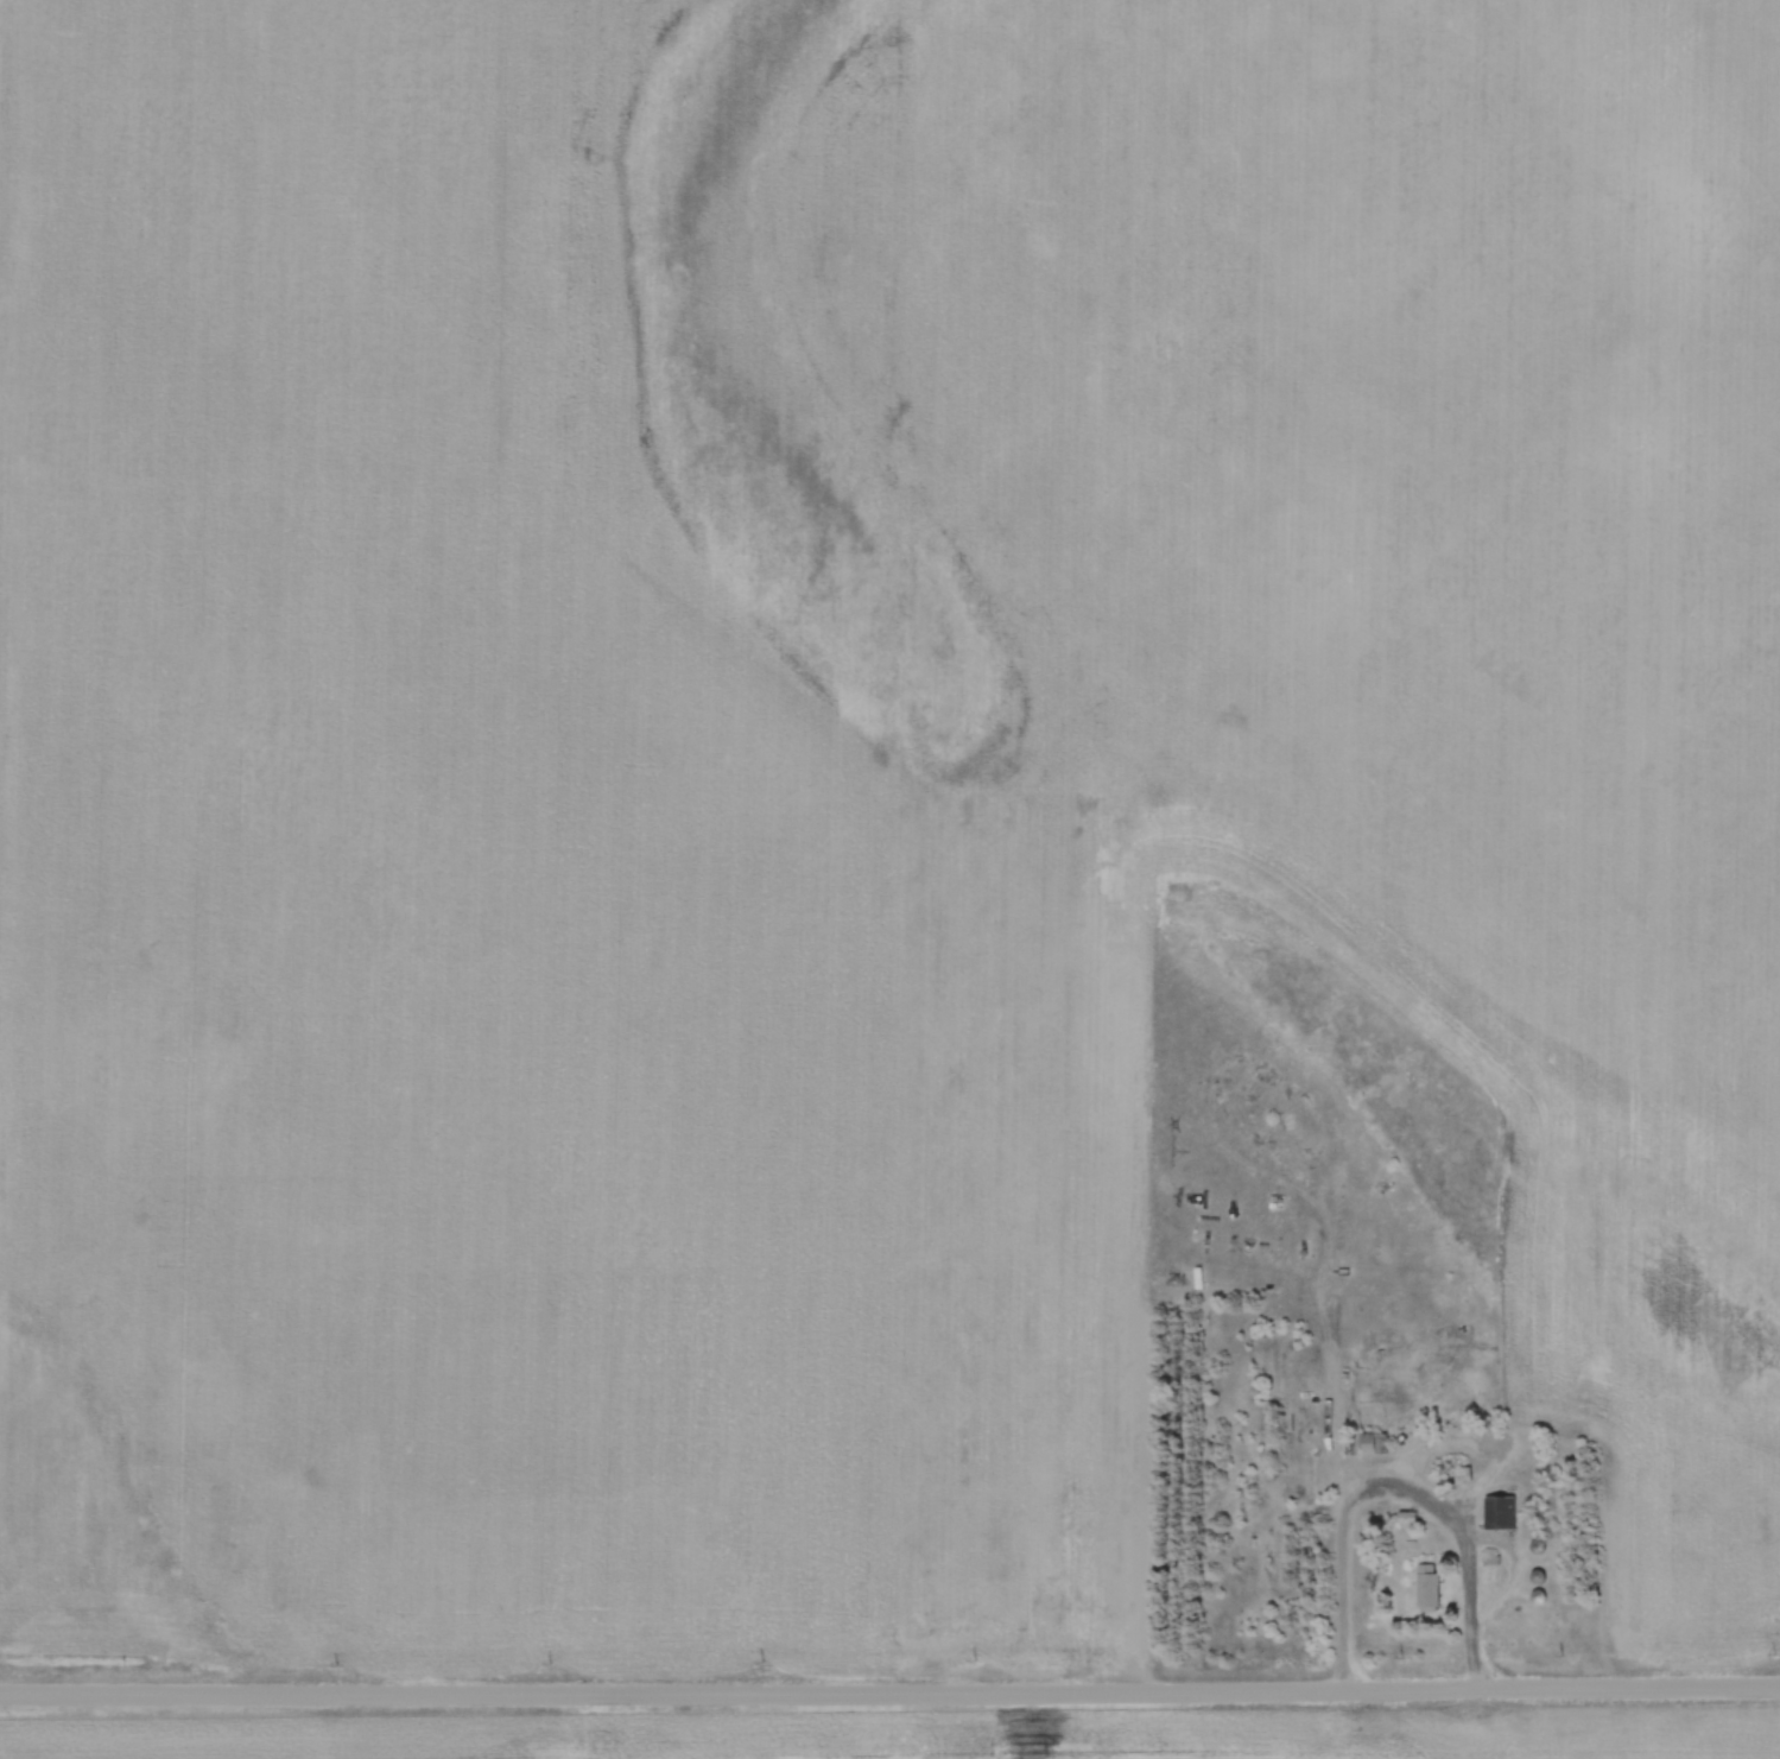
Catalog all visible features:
building: (1370, 1445)
road: (1388, 1476)
building: (1501, 1514)
building: (1429, 1589)
road: (889, 1692)

